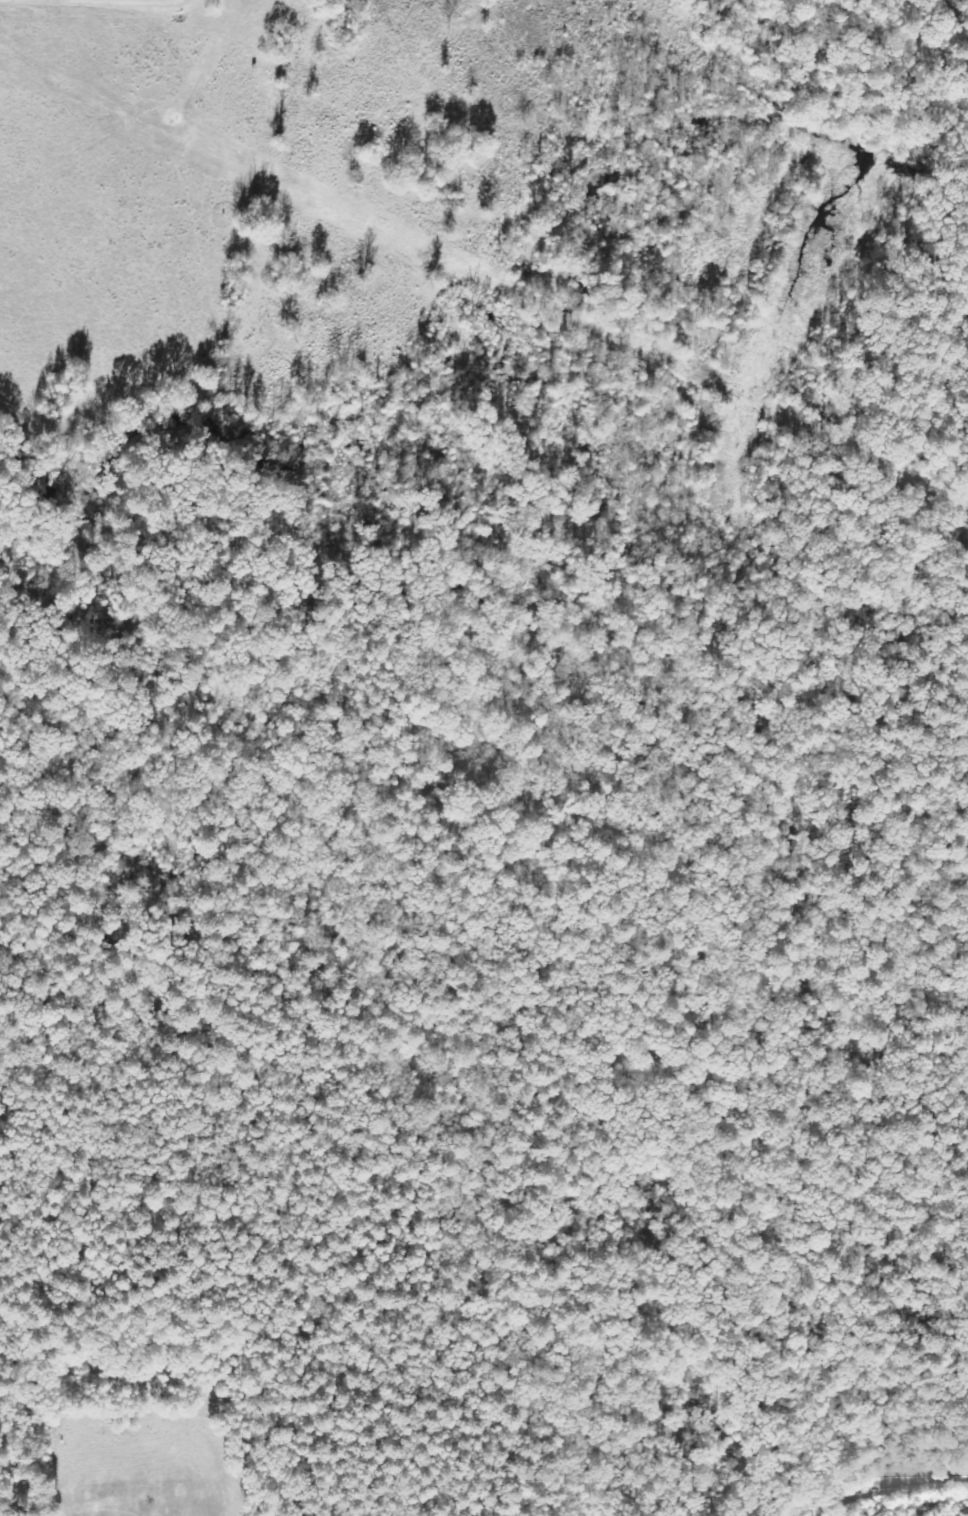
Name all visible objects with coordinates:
road: (879, 1491)

